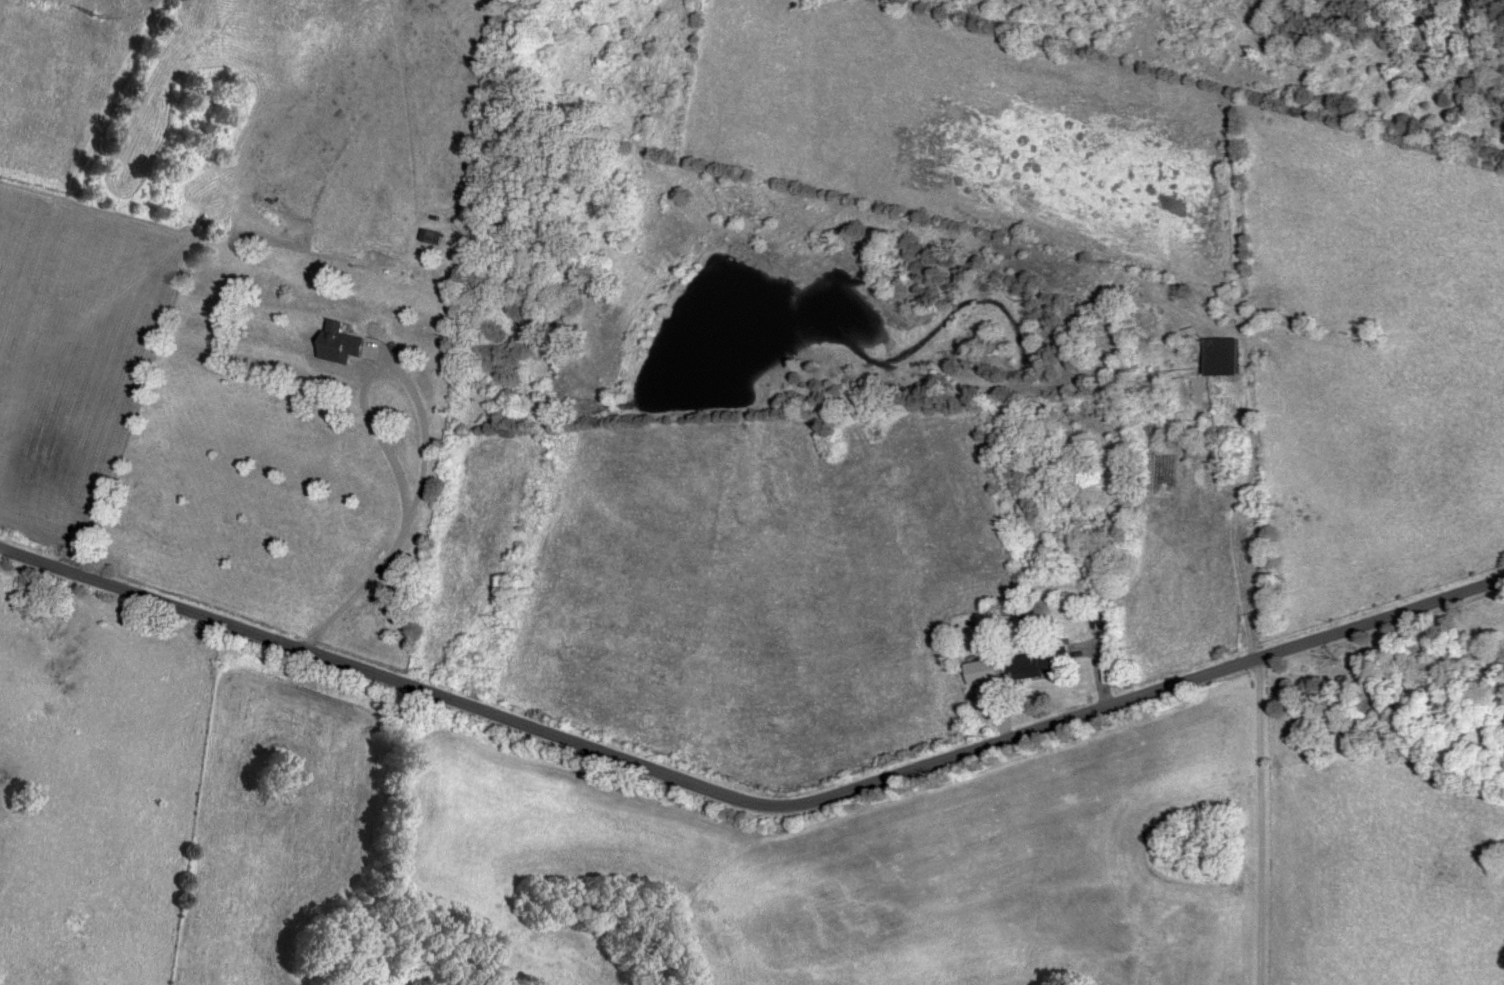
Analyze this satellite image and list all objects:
building: (433, 234)
building: (340, 340)
building: (1224, 354)
building: (1040, 663)
road: (750, 798)
road: (1258, 817)

